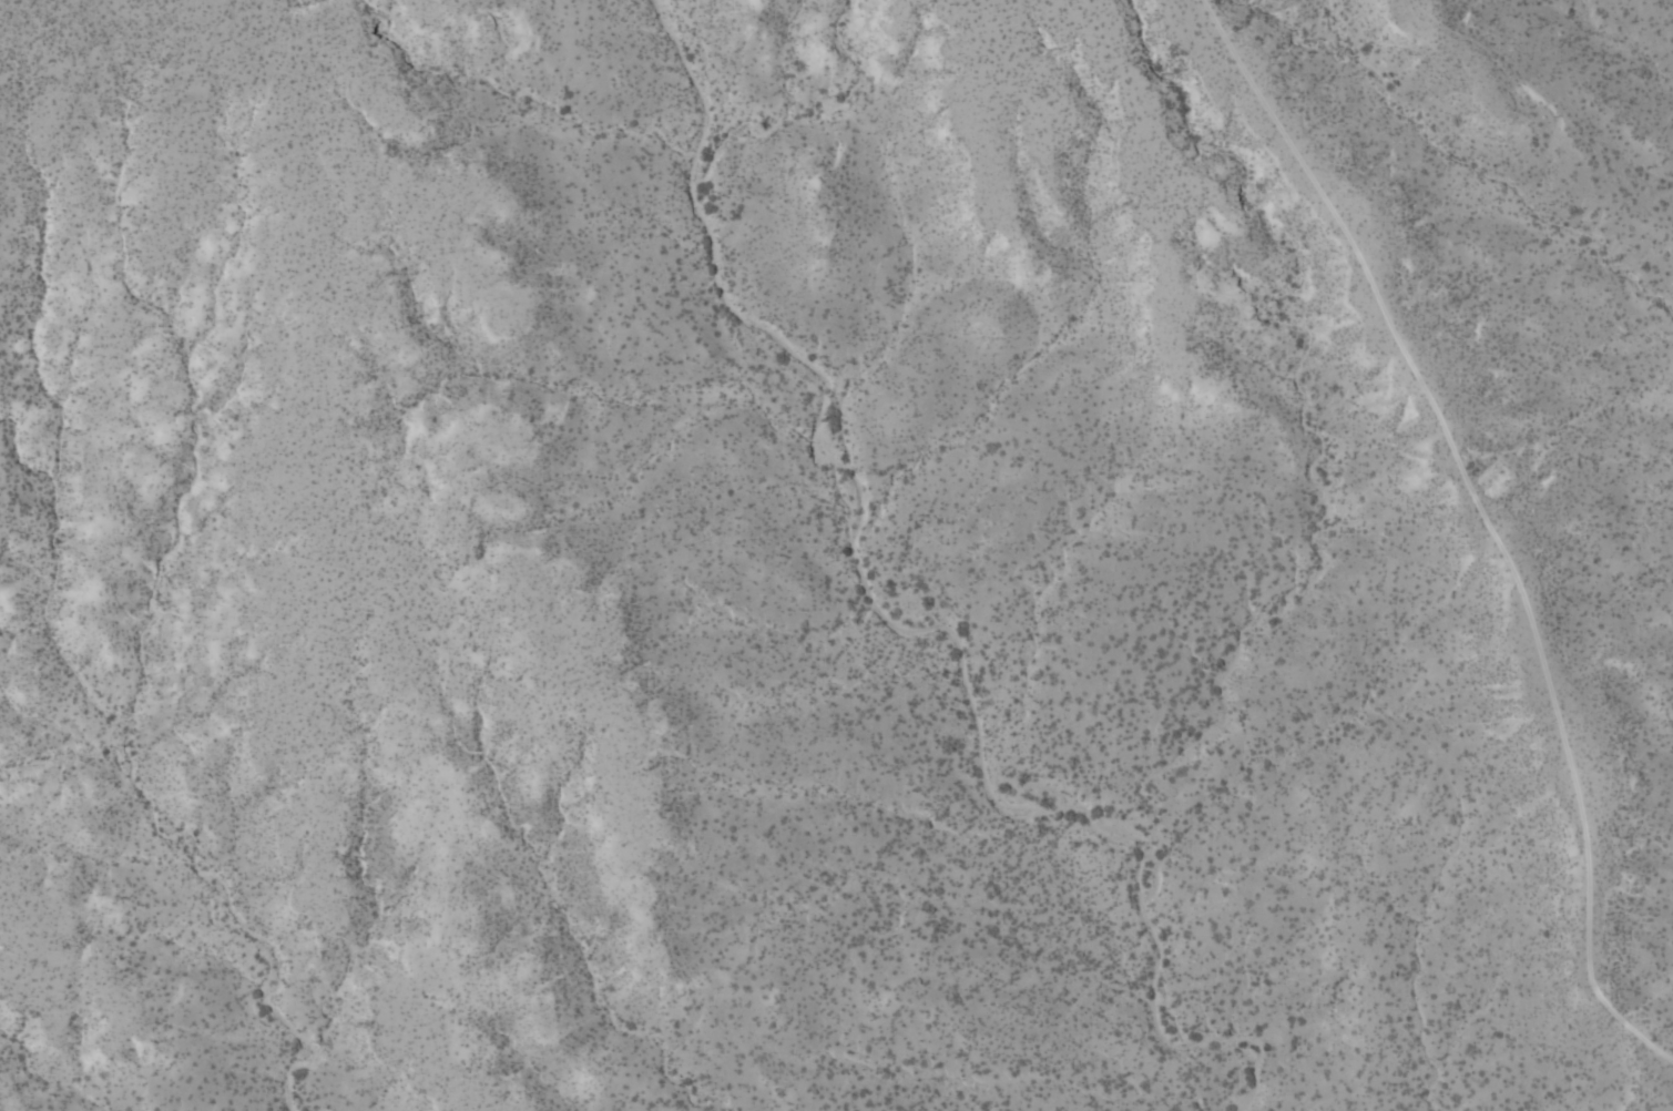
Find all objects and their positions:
road: (1489, 520)

